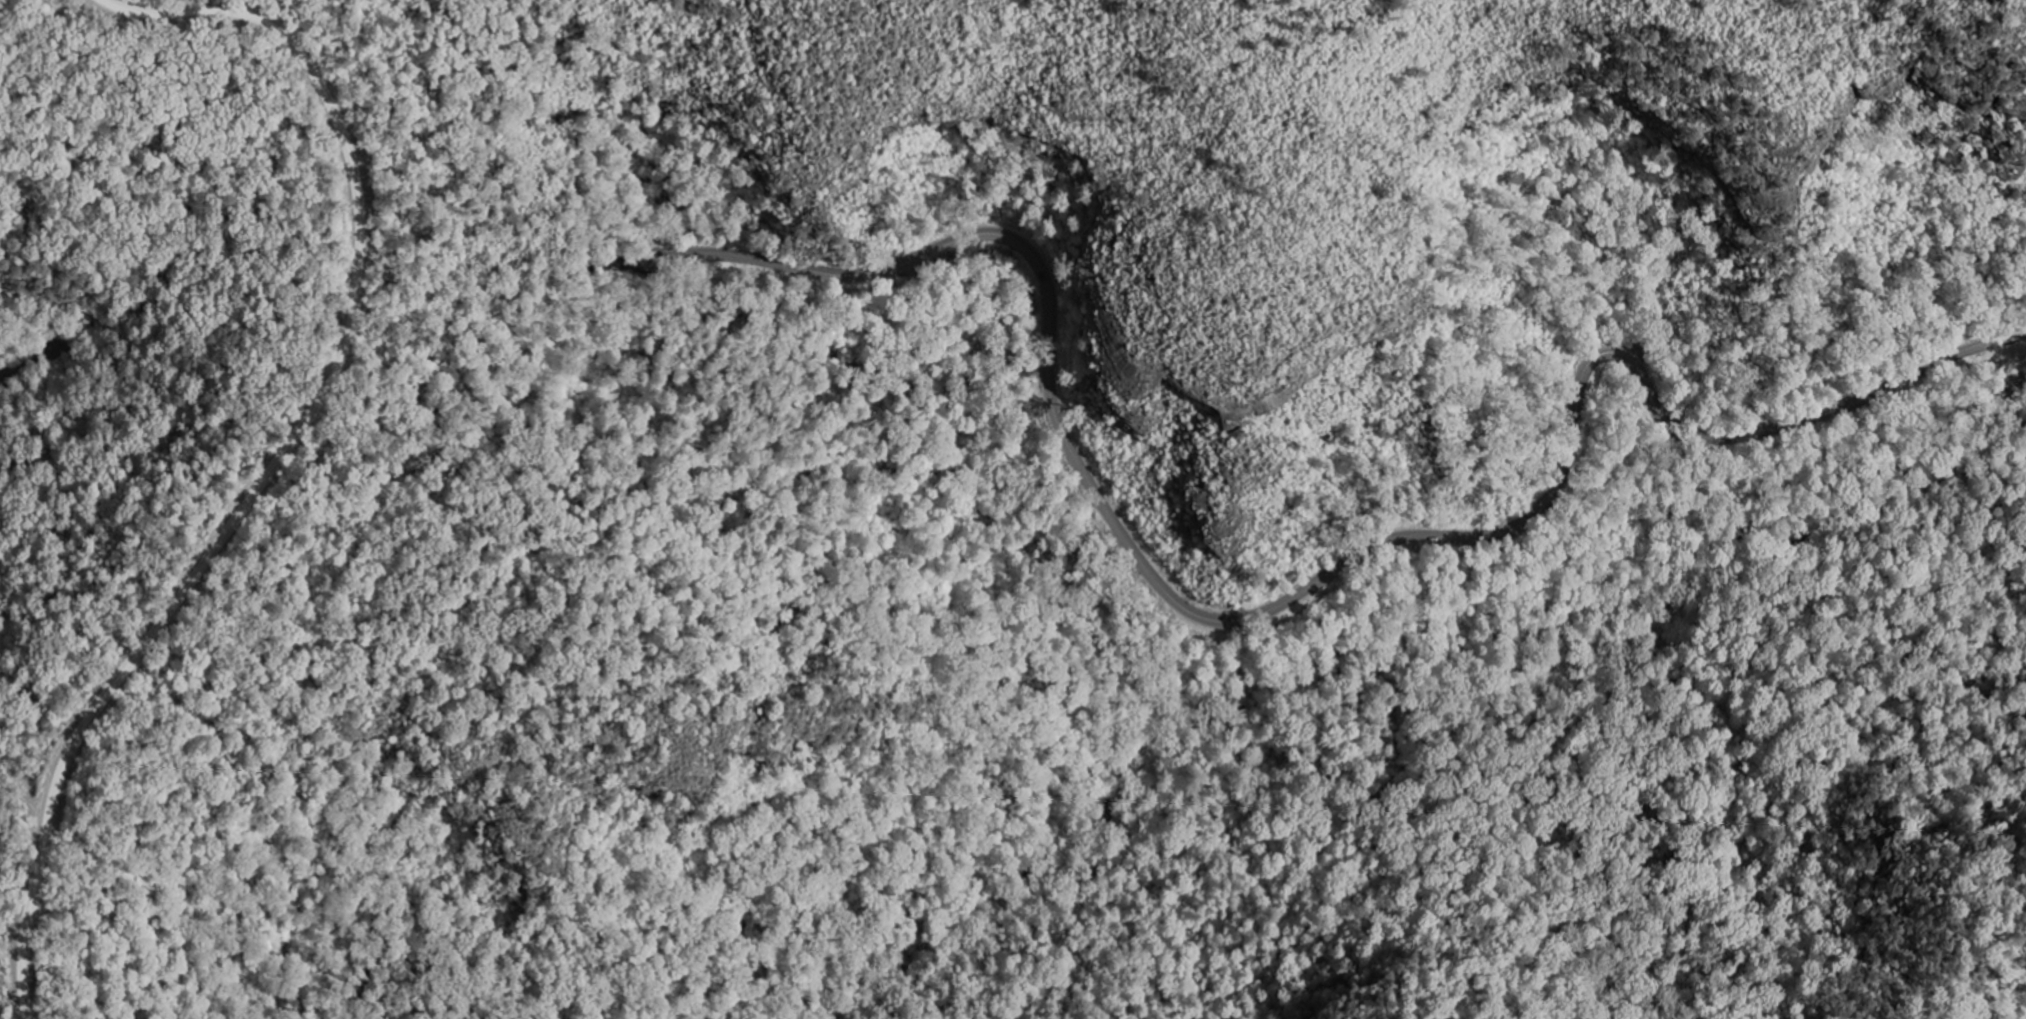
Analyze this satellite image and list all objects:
road: (76, 329)
road: (284, 453)
road: (1303, 593)

